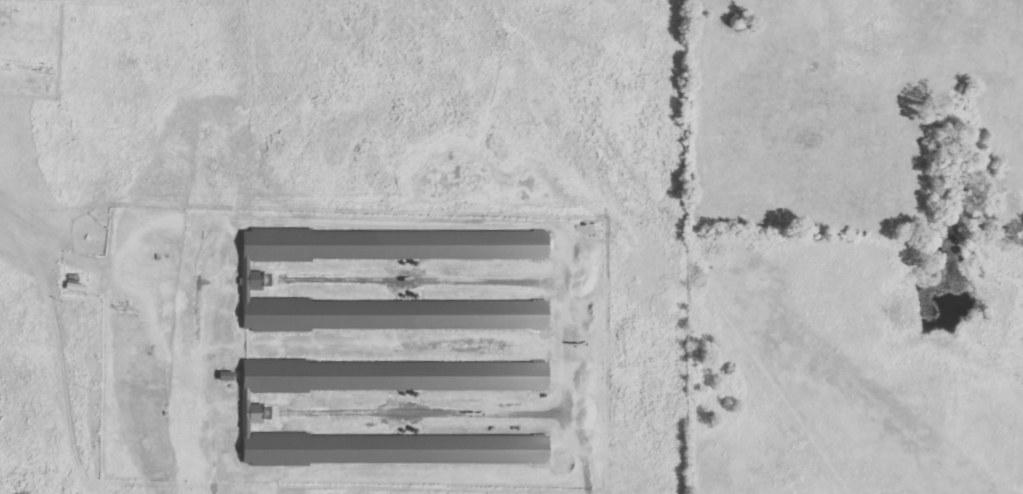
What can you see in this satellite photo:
building: (259, 283)
building: (255, 409)

